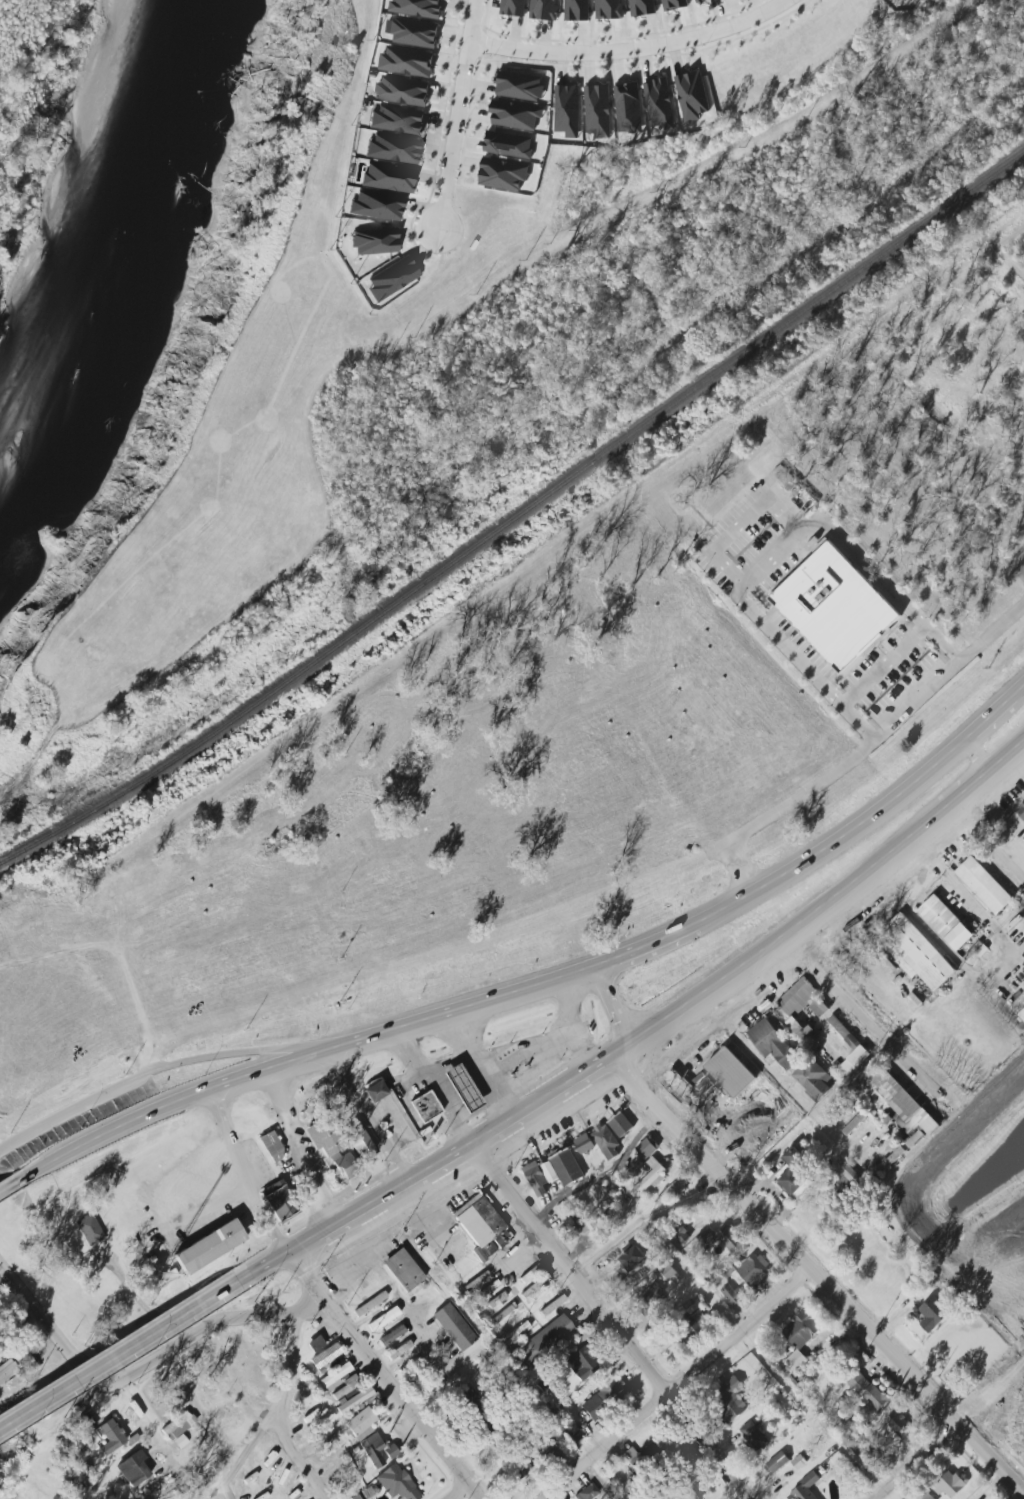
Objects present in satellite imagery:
building: (900, 0)
building: (699, 1)
building: (674, 4)
building: (513, 7)
building: (642, 7)
building: (418, 8)
building: (608, 8)
building: (542, 9)
building: (576, 9)
building: (415, 33)
road: (632, 50)
building: (407, 61)
building: (518, 84)
building: (402, 90)
building: (690, 93)
building: (658, 102)
building: (626, 105)
building: (597, 109)
building: (567, 110)
building: (514, 112)
road: (456, 116)
building: (397, 119)
building: (509, 145)
building: (392, 148)
building: (502, 173)
building: (388, 176)
building: (376, 204)
building: (375, 240)
river: (116, 253)
building: (392, 278)
building: (783, 474)
railway: (517, 516)
road: (742, 523)
road: (779, 554)
road: (1017, 556)
building: (836, 607)
road: (884, 665)
road: (1023, 685)
road: (994, 714)
road: (873, 741)
road: (978, 756)
road: (1008, 756)
road: (960, 798)
building: (1021, 809)
road: (840, 839)
road: (991, 840)
road: (741, 868)
building: (983, 885)
road: (920, 922)
building: (946, 922)
road: (772, 944)
road: (645, 945)
building: (918, 952)
road: (572, 973)
building: (802, 1000)
road: (605, 1006)
building: (1022, 1014)
road: (867, 1020)
road: (571, 1022)
building: (793, 1023)
road: (116, 1032)
building: (810, 1038)
building: (771, 1042)
road: (521, 1043)
building: (849, 1048)
road: (673, 1051)
road: (249, 1052)
road: (283, 1063)
road: (445, 1064)
road: (476, 1066)
road: (536, 1070)
building: (730, 1071)
building: (813, 1078)
road: (435, 1084)
road: (781, 1084)
building: (462, 1088)
gas station: (462, 1088)
building: (375, 1092)
building: (898, 1100)
building: (425, 1106)
gas station: (425, 1106)
road: (71, 1108)
road: (363, 1117)
road: (816, 1121)
building: (621, 1124)
building: (914, 1139)
building: (607, 1141)
building: (361, 1143)
building: (585, 1143)
road: (300, 1146)
building: (332, 1146)
building: (271, 1147)
building: (647, 1147)
road: (450, 1153)
building: (567, 1167)
building: (549, 1169)
road: (486, 1173)
building: (792, 1173)
road: (603, 1174)
building: (651, 1177)
building: (537, 1178)
road: (251, 1180)
road: (471, 1183)
road: (10, 1184)
building: (674, 1190)
building: (281, 1202)
building: (564, 1215)
building: (584, 1217)
building: (482, 1227)
building: (89, 1229)
building: (681, 1235)
building: (724, 1237)
road: (352, 1241)
building: (647, 1246)
building: (208, 1247)
road: (521, 1251)
road: (576, 1252)
building: (619, 1252)
road: (262, 1267)
building: (404, 1269)
building: (754, 1270)
road: (815, 1272)
road: (304, 1275)
building: (476, 1281)
building: (535, 1286)
building: (732, 1294)
building: (651, 1299)
building: (497, 1300)
building: (370, 1304)
building: (552, 1305)
building: (933, 1313)
building: (383, 1319)
road: (609, 1321)
building: (454, 1326)
building: (515, 1334)
building: (801, 1334)
building: (391, 1335)
building: (544, 1340)
building: (315, 1344)
building: (398, 1350)
road: (117, 1355)
building: (326, 1356)
building: (583, 1363)
road: (288, 1367)
road: (138, 1368)
building: (17, 1369)
building: (336, 1375)
road: (675, 1384)
building: (347, 1386)
building: (869, 1389)
road: (992, 1392)
road: (400, 1398)
building: (602, 1398)
building: (731, 1399)
building: (355, 1401)
road: (195, 1410)
road: (262, 1416)
building: (899, 1424)
building: (178, 1425)
building: (853, 1427)
building: (365, 1433)
building: (754, 1436)
building: (110, 1437)
building: (180, 1442)
road: (245, 1451)
building: (631, 1456)
building: (549, 1459)
road: (916, 1461)
building: (777, 1462)
building: (799, 1462)
building: (518, 1467)
building: (133, 1469)
road: (597, 1480)
building: (396, 1483)
building: (949, 1483)
building: (804, 1488)
road: (457, 1491)
building: (689, 1491)
building: (587, 1492)
building: (928, 1496)
building: (356, 1497)

